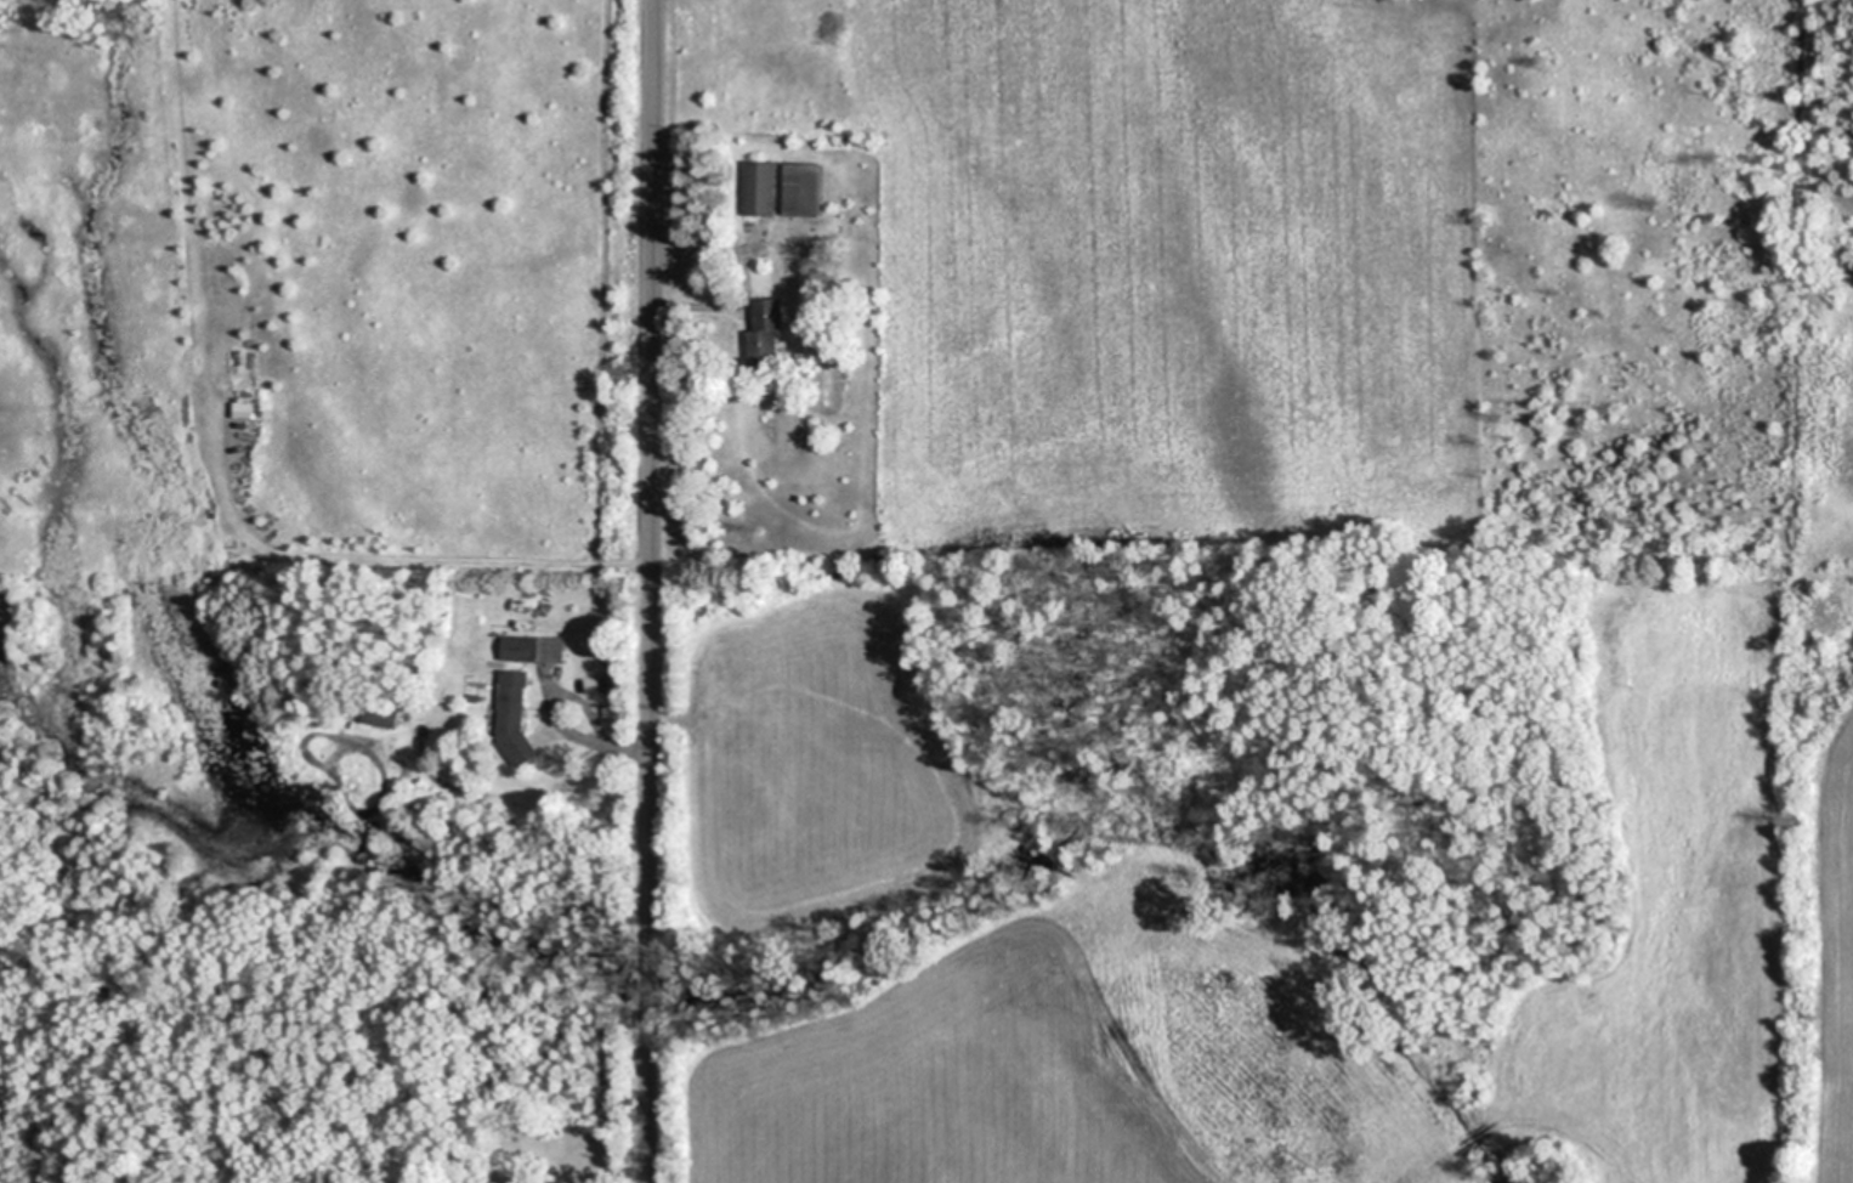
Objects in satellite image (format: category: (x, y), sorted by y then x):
building: (760, 188)
building: (806, 188)
building: (769, 333)
building: (243, 409)
road: (652, 591)
building: (534, 649)
building: (516, 714)
building: (382, 715)

